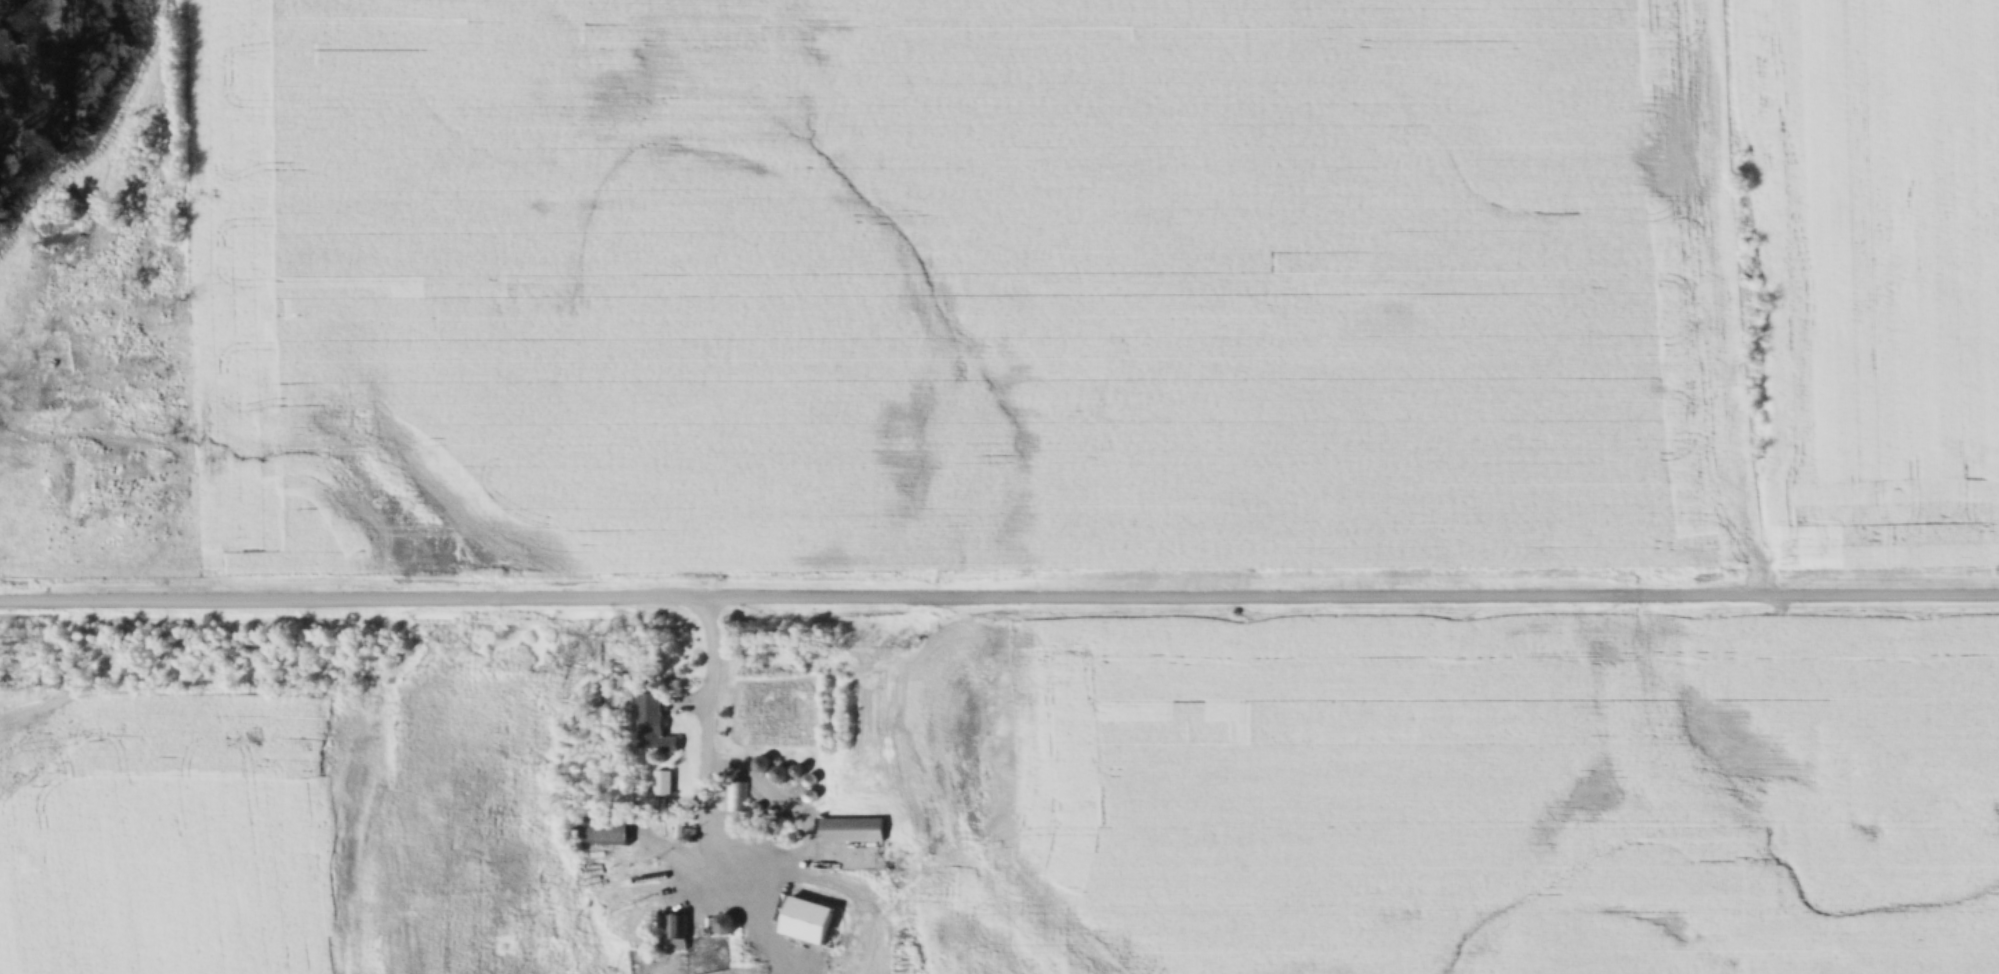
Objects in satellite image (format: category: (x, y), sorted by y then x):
road: (999, 592)
building: (654, 724)
road: (709, 742)
building: (735, 796)
building: (853, 829)
building: (604, 832)
building: (617, 864)
building: (809, 920)
building: (726, 923)
building: (672, 932)
building: (921, 943)

